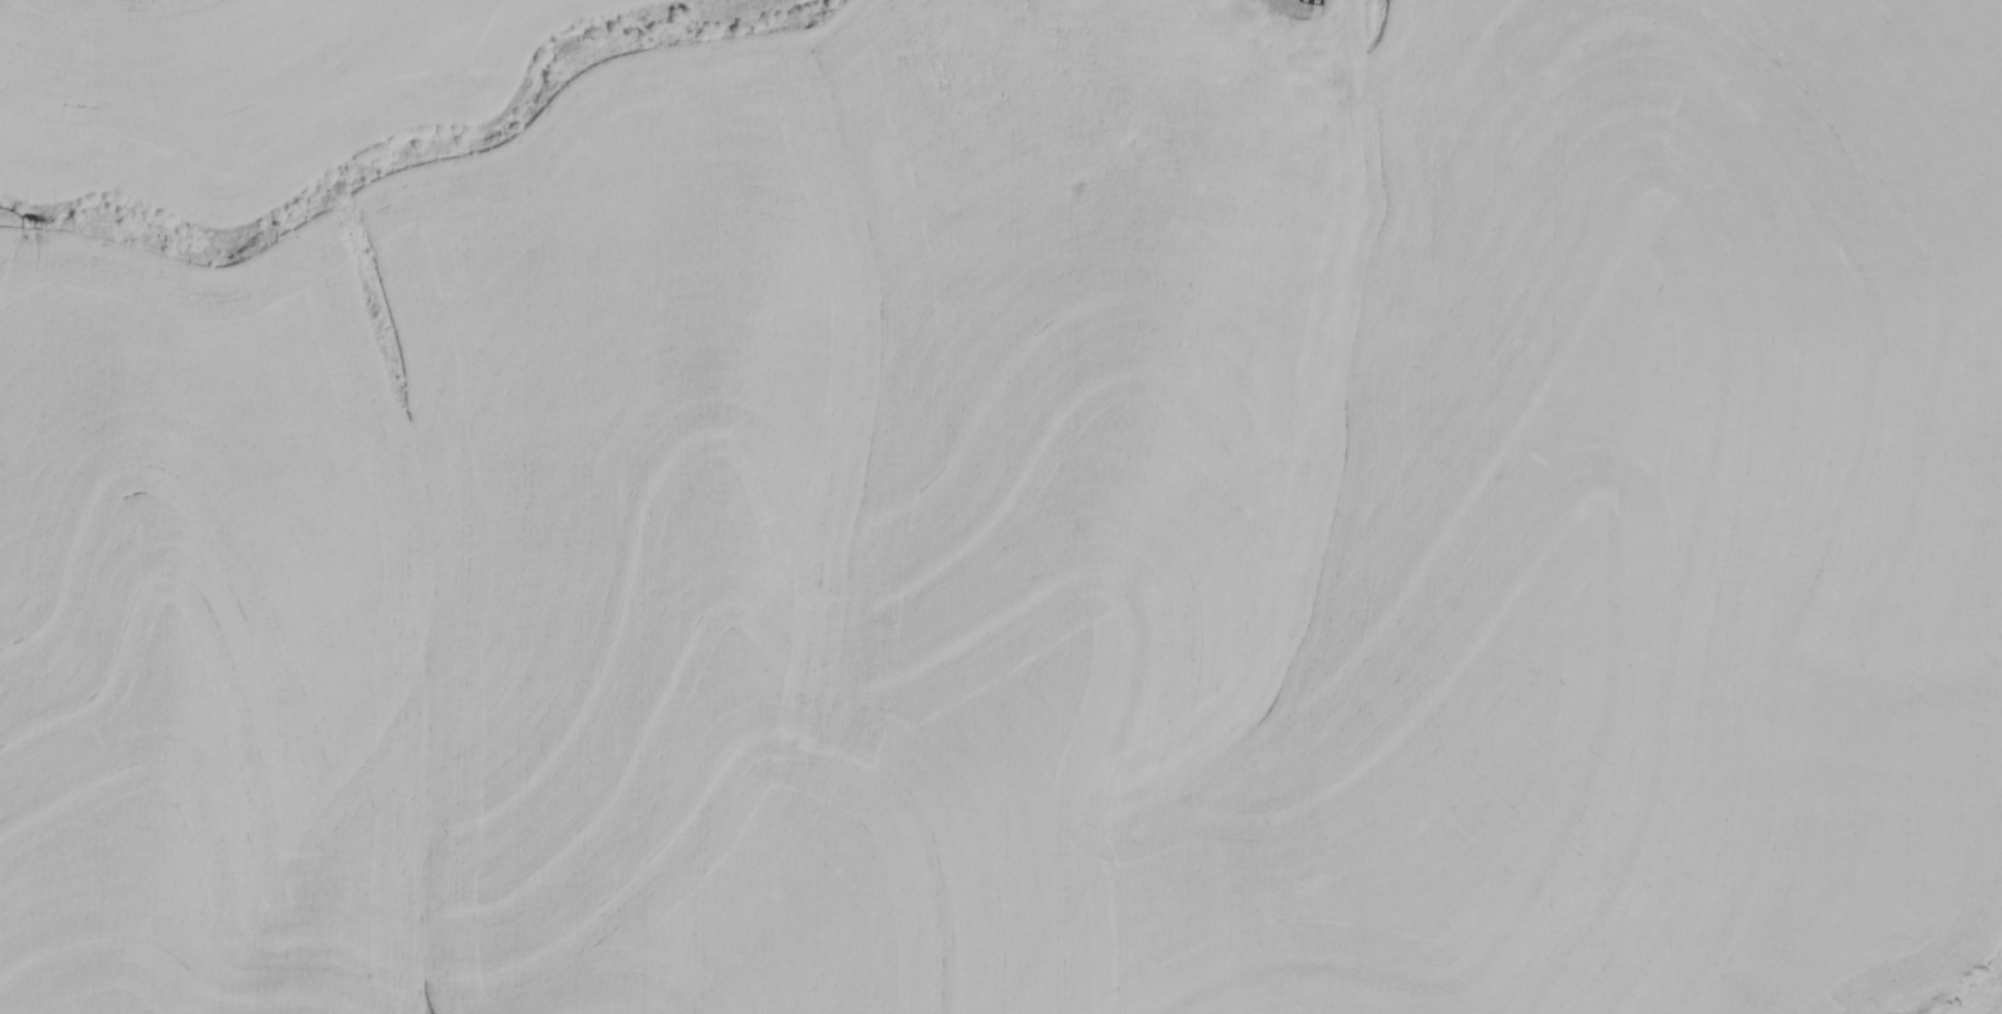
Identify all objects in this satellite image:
building: (1232, 1)
building: (1282, 25)

